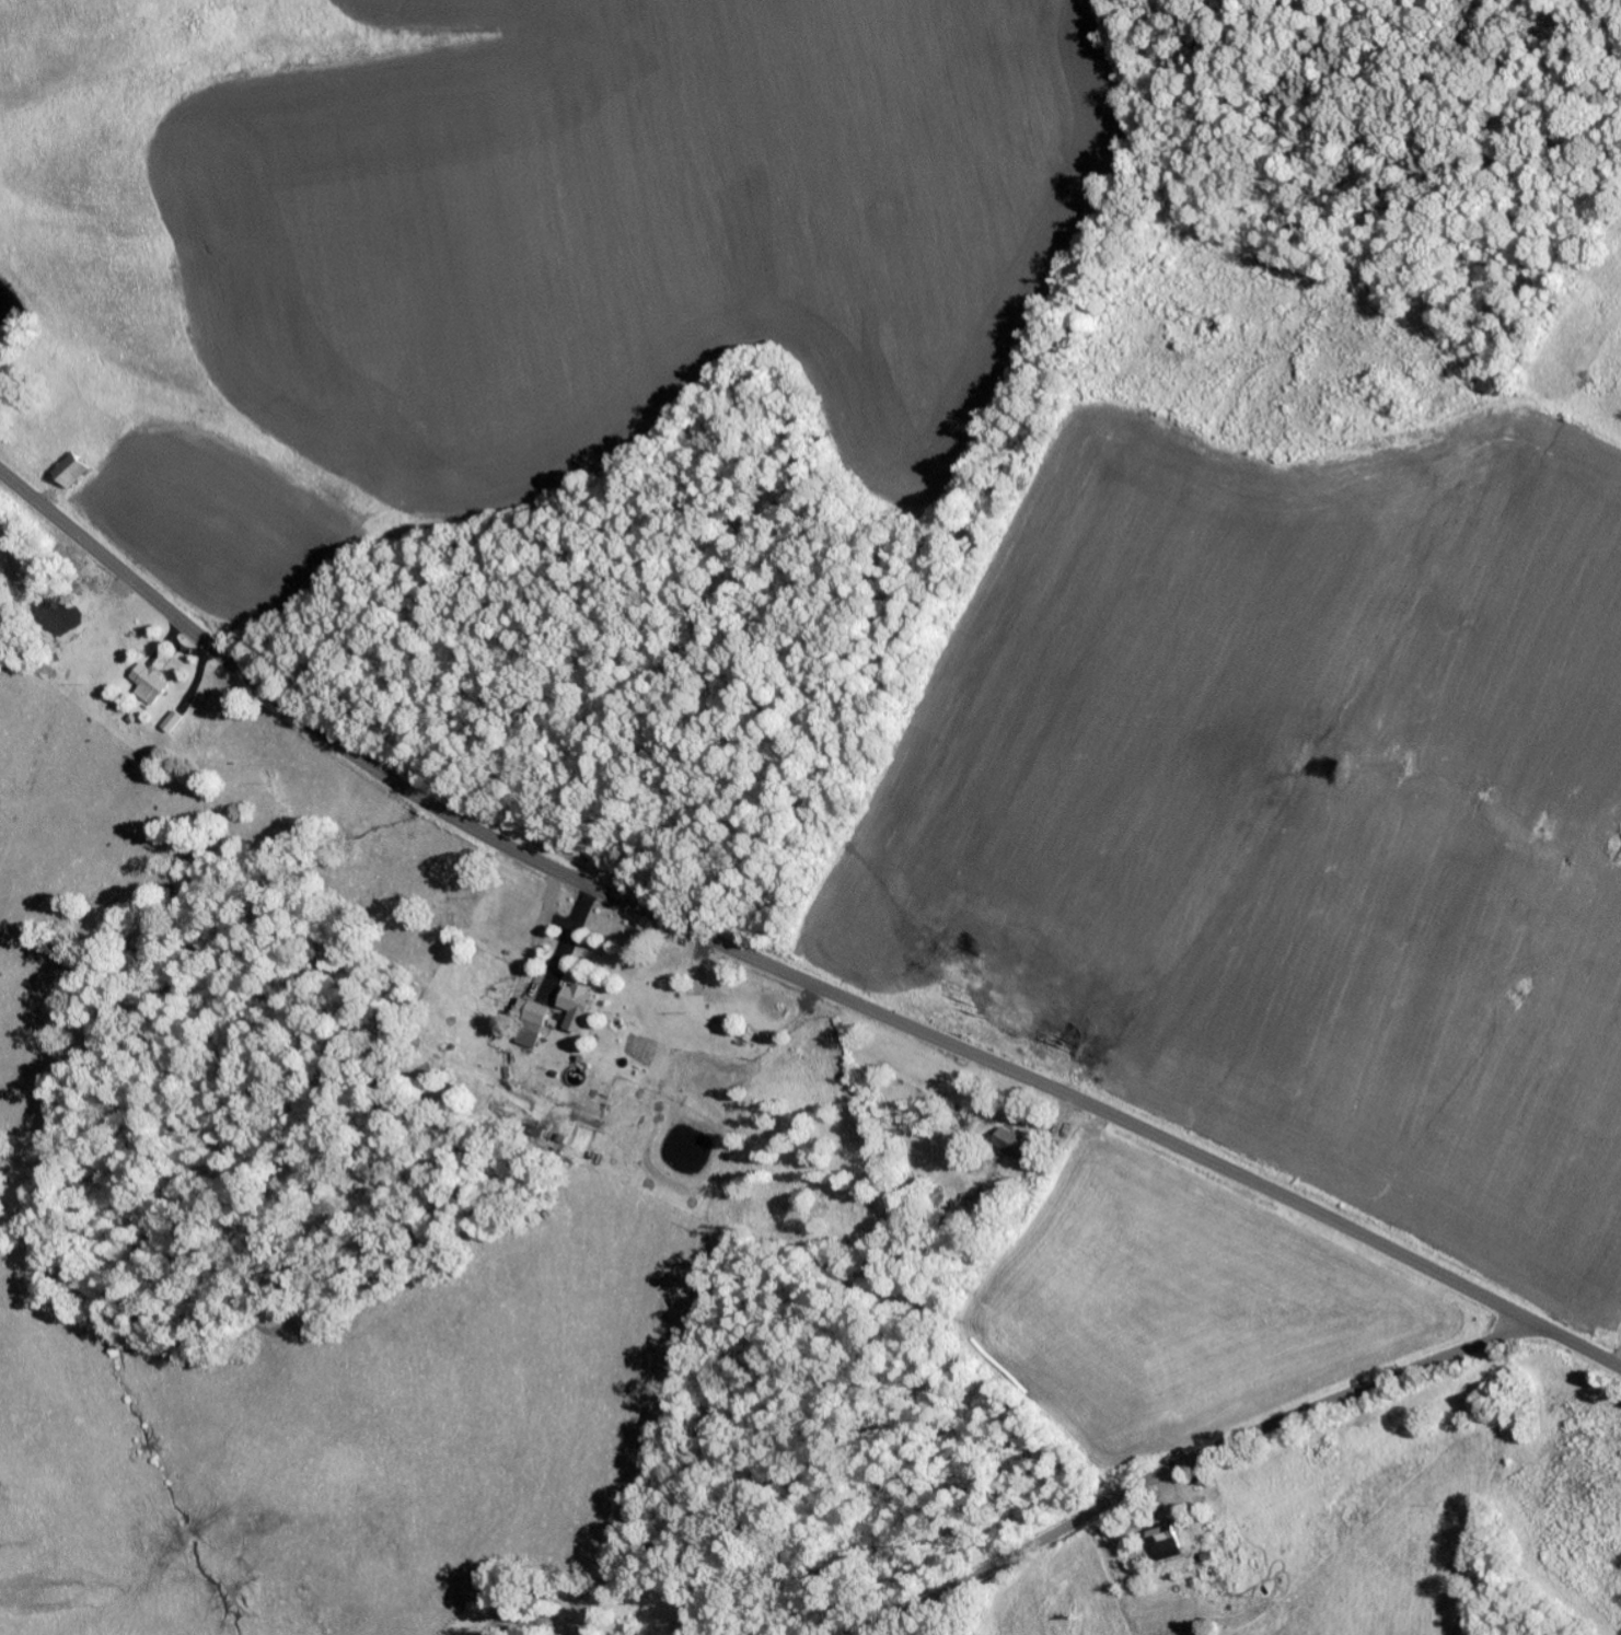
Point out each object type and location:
building: (77, 469)
building: (147, 683)
building: (171, 722)
road: (778, 971)
building: (570, 1006)
building: (526, 1021)
building: (1007, 1141)
road: (1189, 1462)
building: (1163, 1543)

